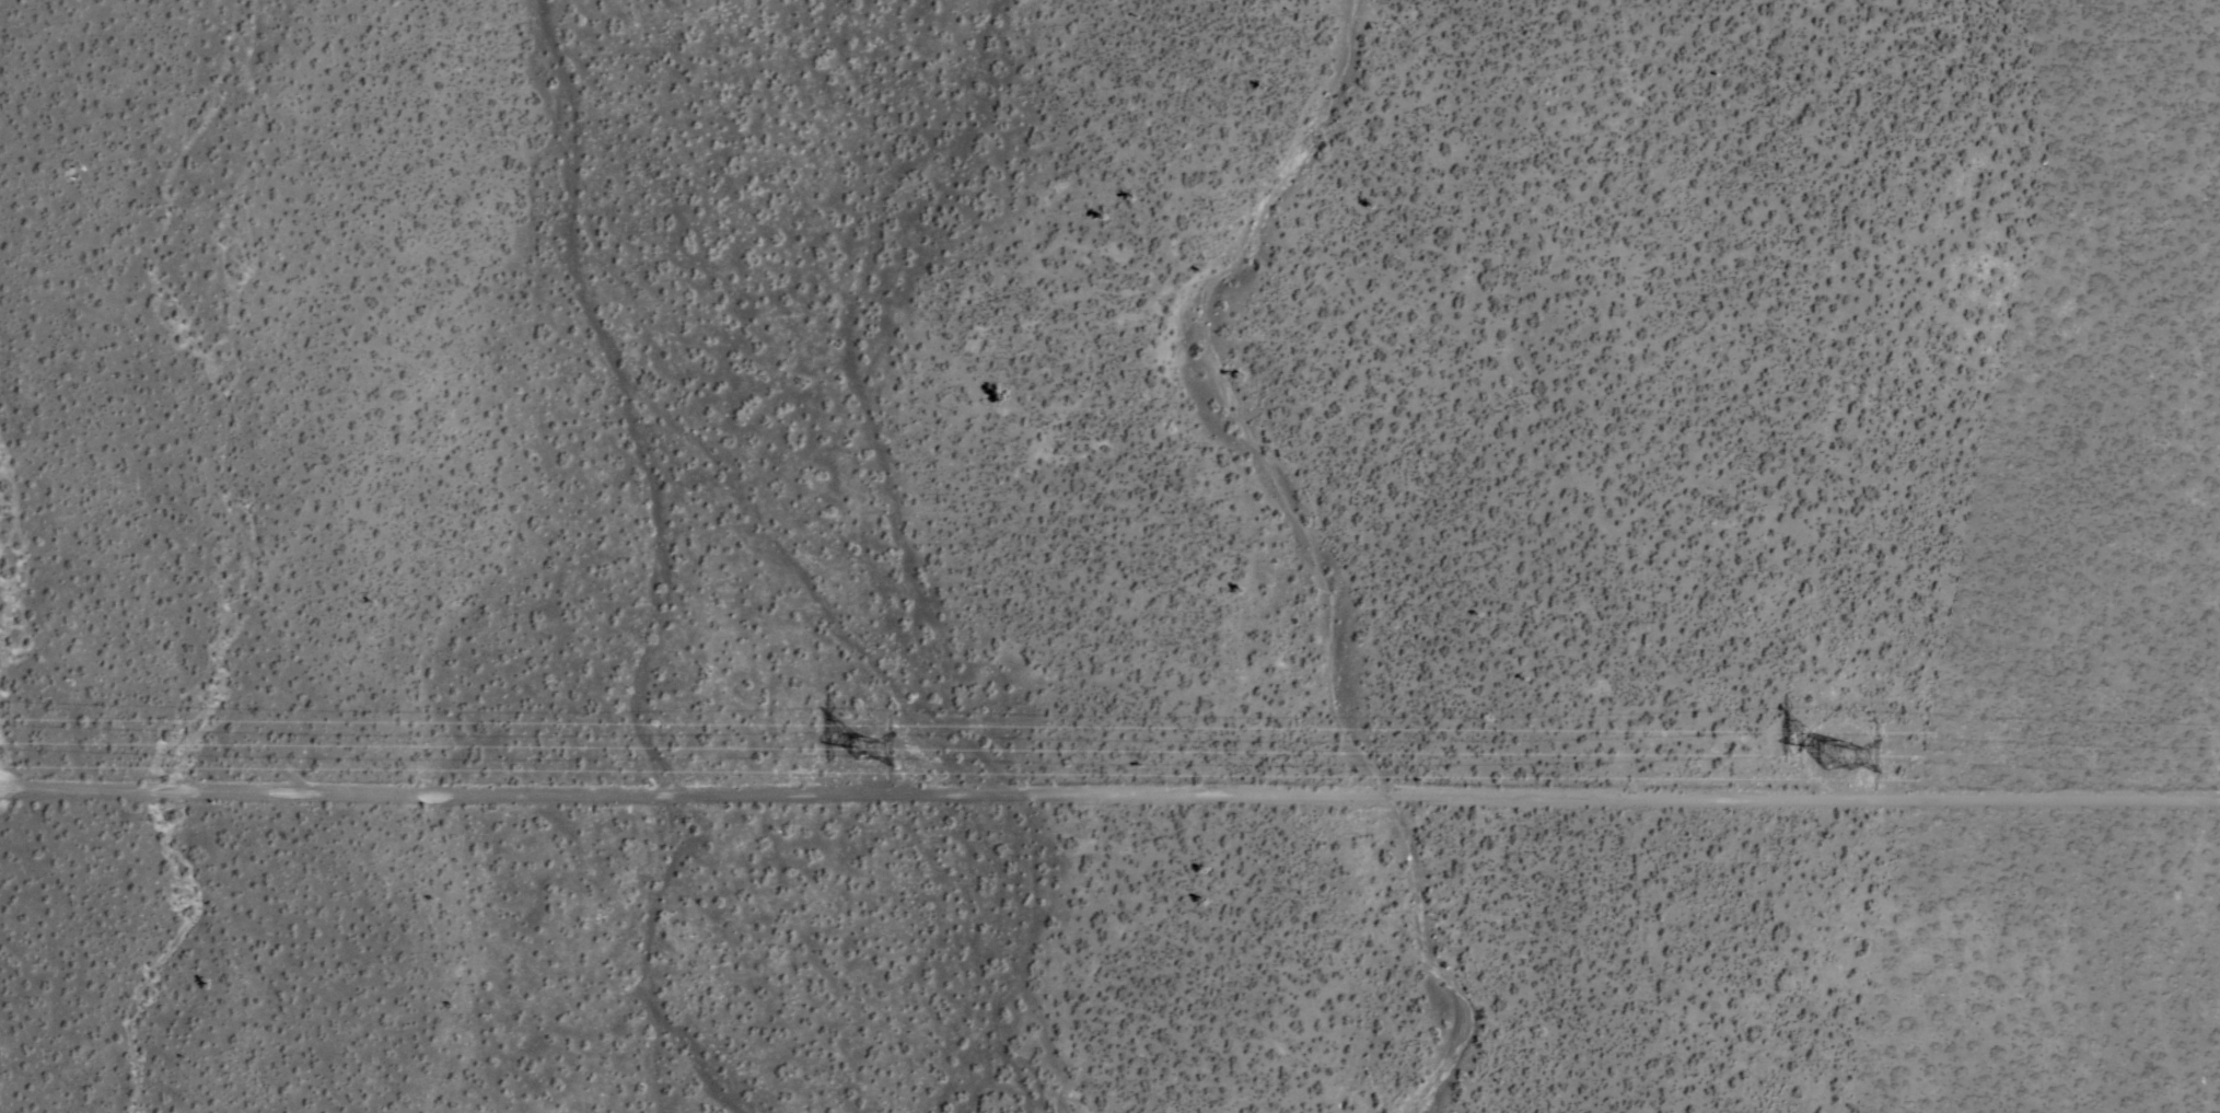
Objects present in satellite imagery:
power tower: (876, 745)
power tower: (1839, 745)
road: (1109, 797)

